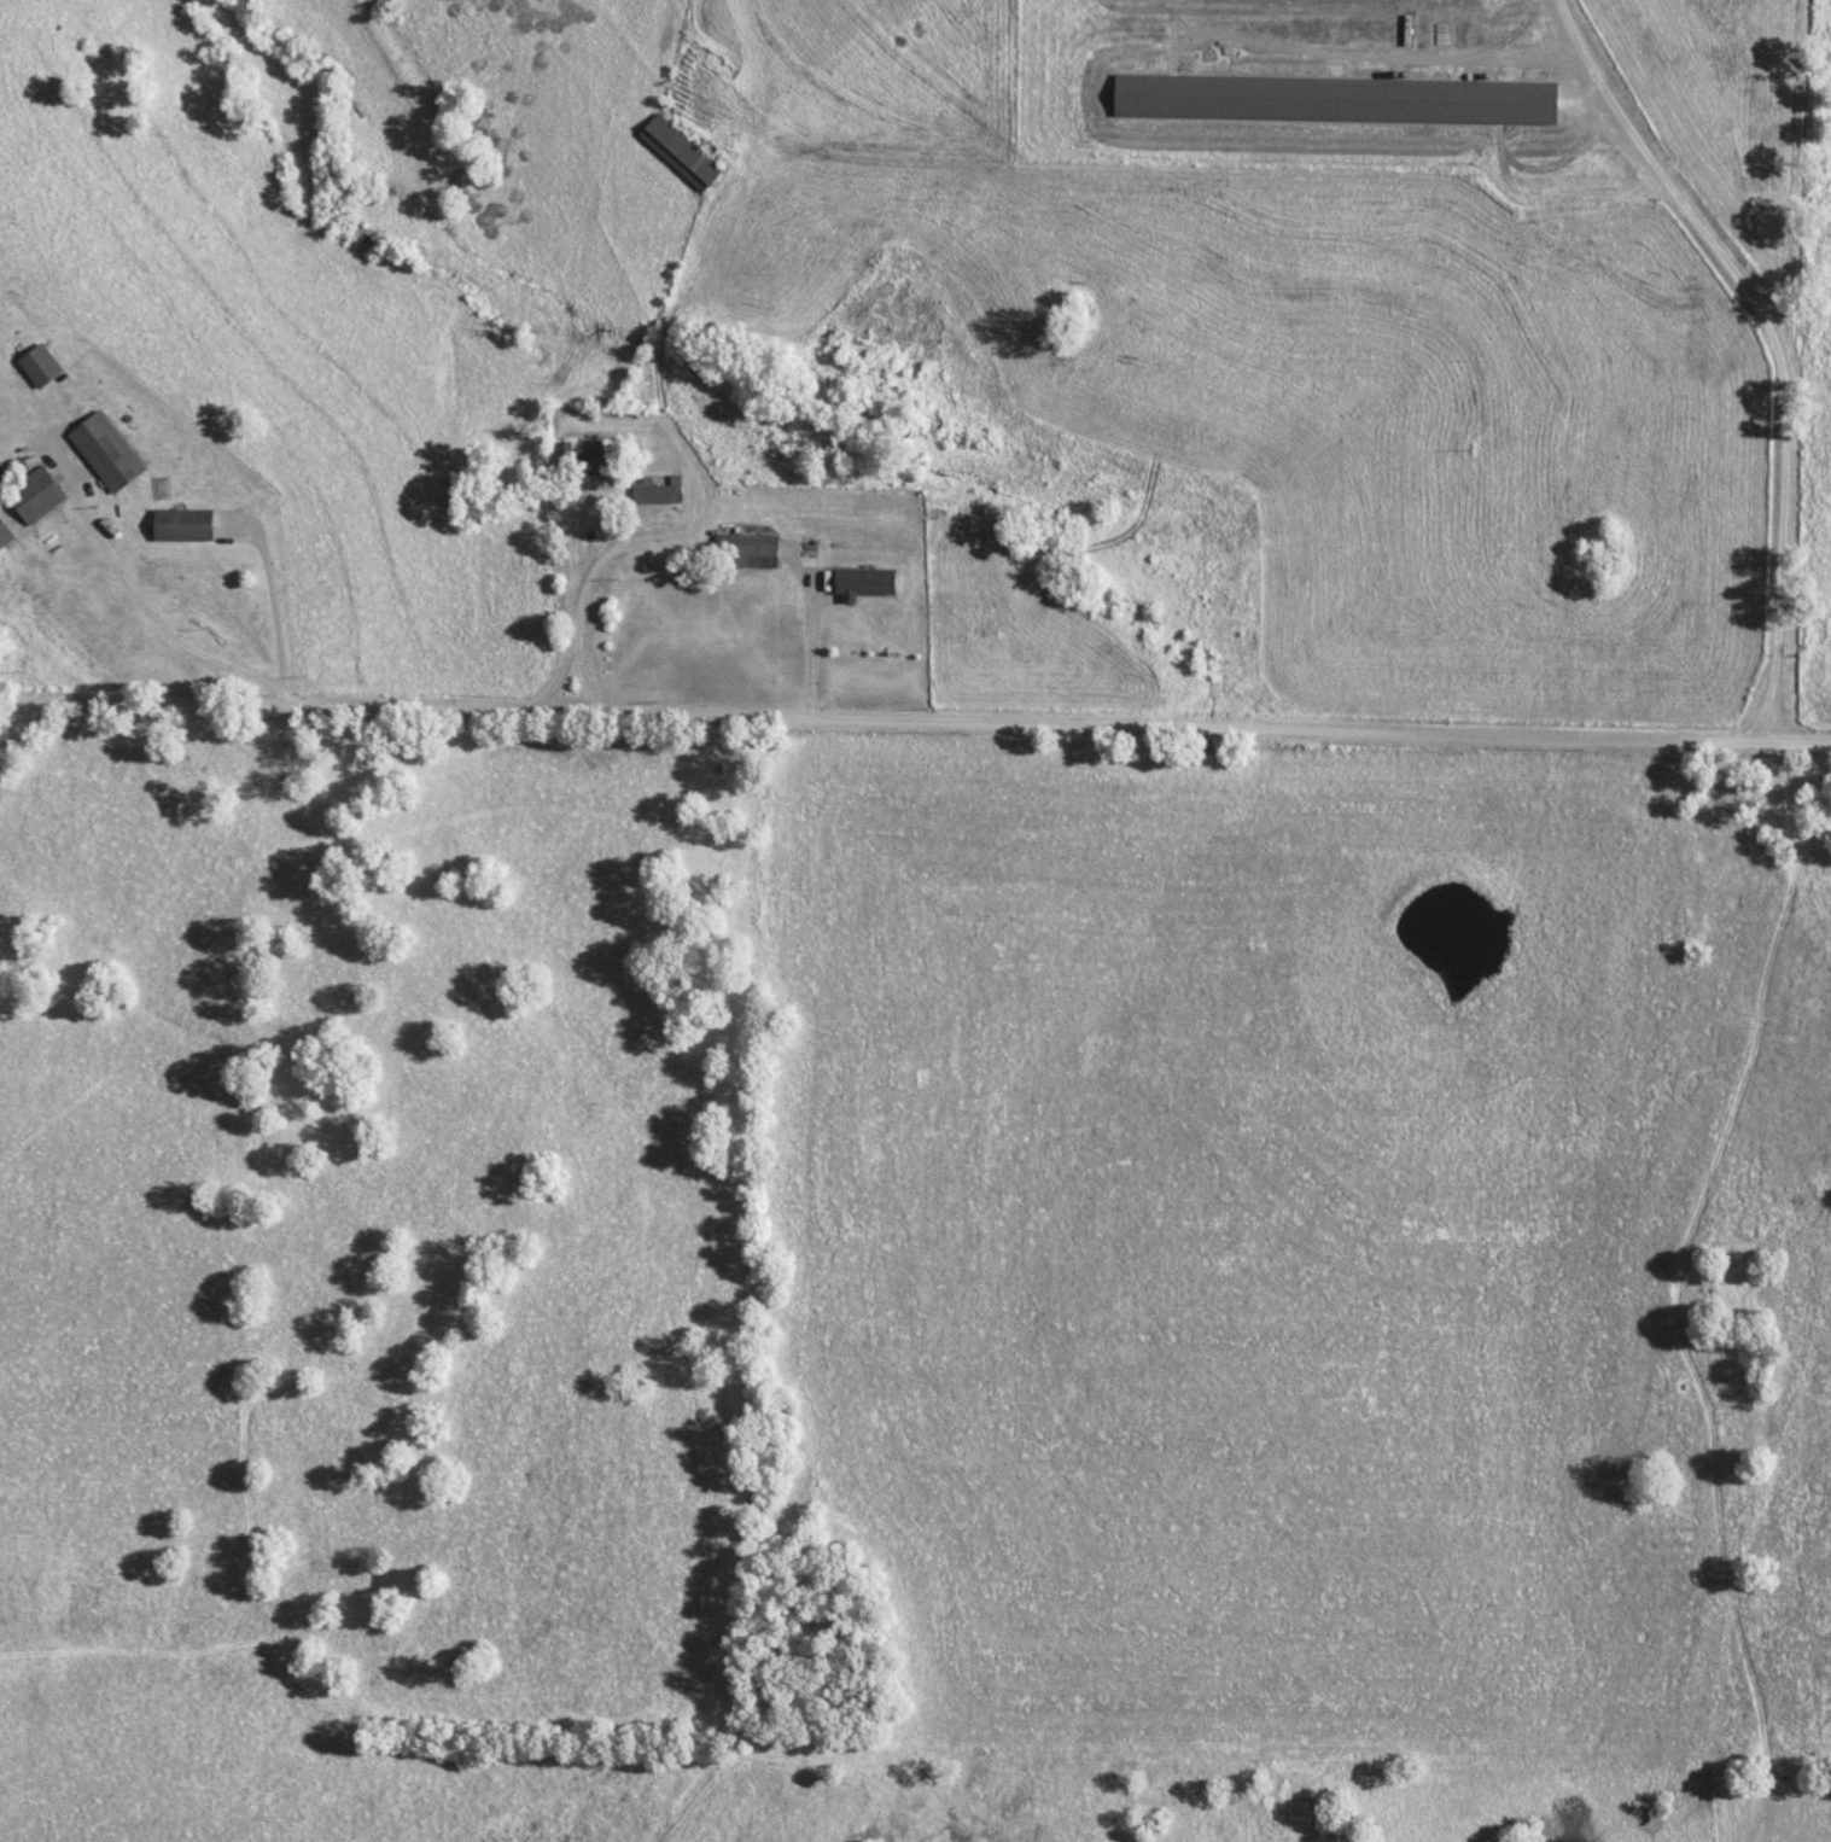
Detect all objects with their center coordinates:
building: (1335, 98)
road: (830, 138)
building: (680, 151)
road: (1774, 343)
building: (40, 365)
road: (654, 398)
building: (103, 447)
building: (581, 460)
building: (658, 489)
building: (35, 495)
building: (182, 523)
building: (4, 534)
building: (807, 547)
building: (753, 549)
road: (278, 605)
road: (151, 617)
building: (880, 618)
road: (814, 655)
road: (582, 678)
road: (915, 724)
road: (1766, 1739)

